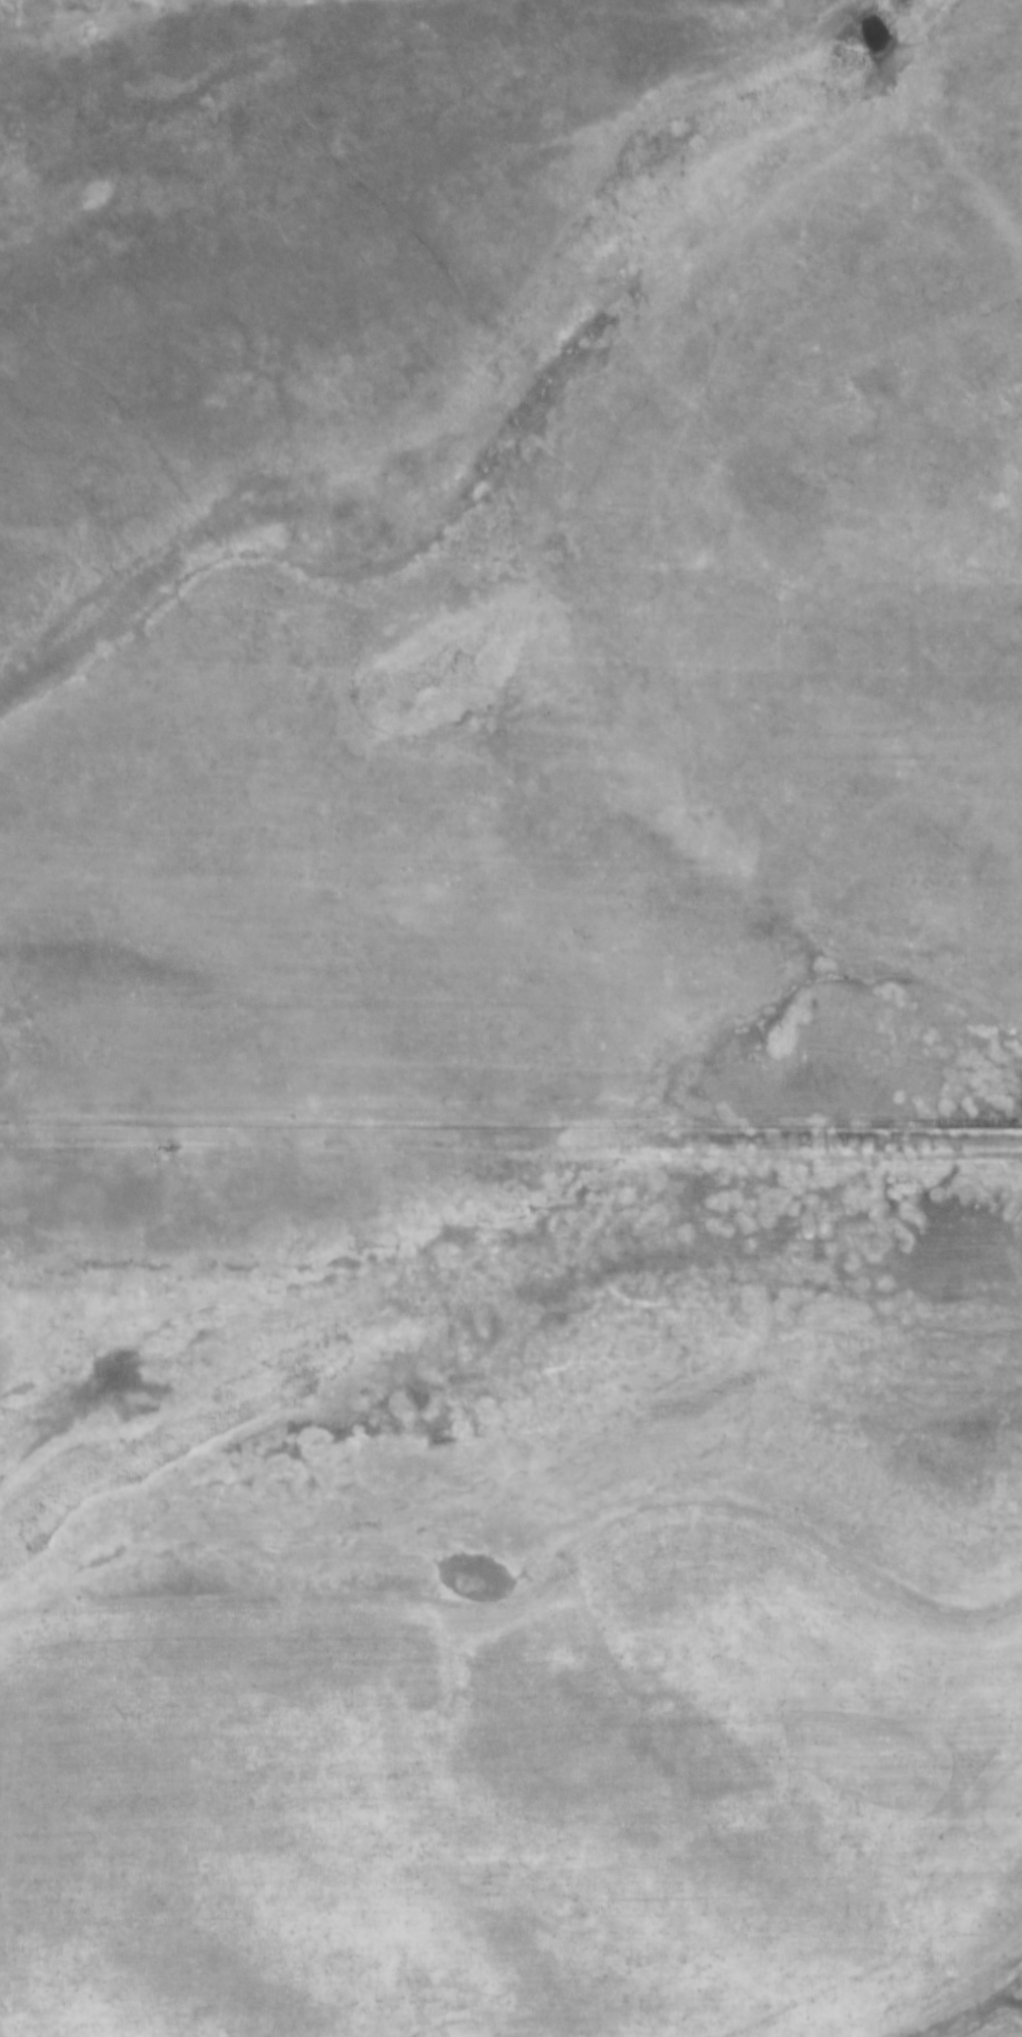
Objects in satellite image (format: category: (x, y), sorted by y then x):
road: (510, 1131)

